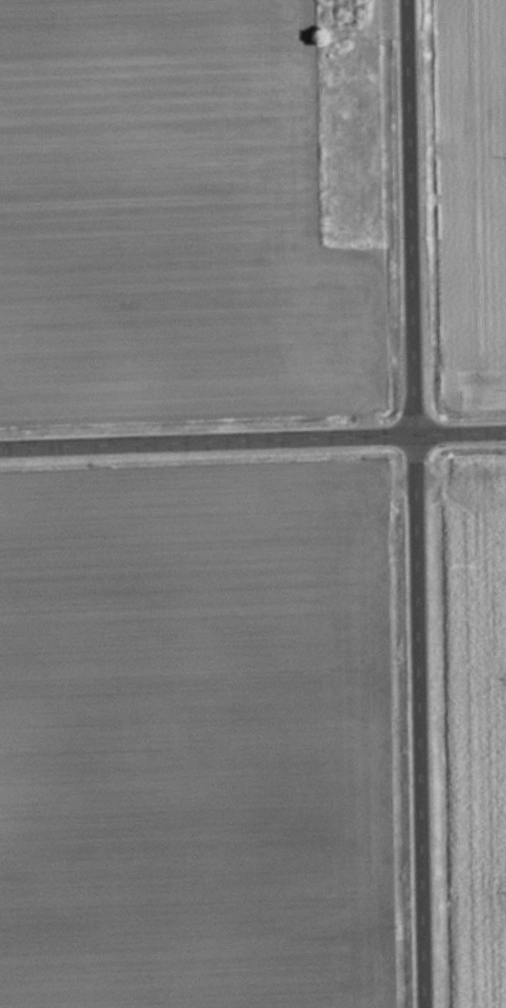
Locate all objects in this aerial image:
road: (252, 436)
road: (423, 503)

